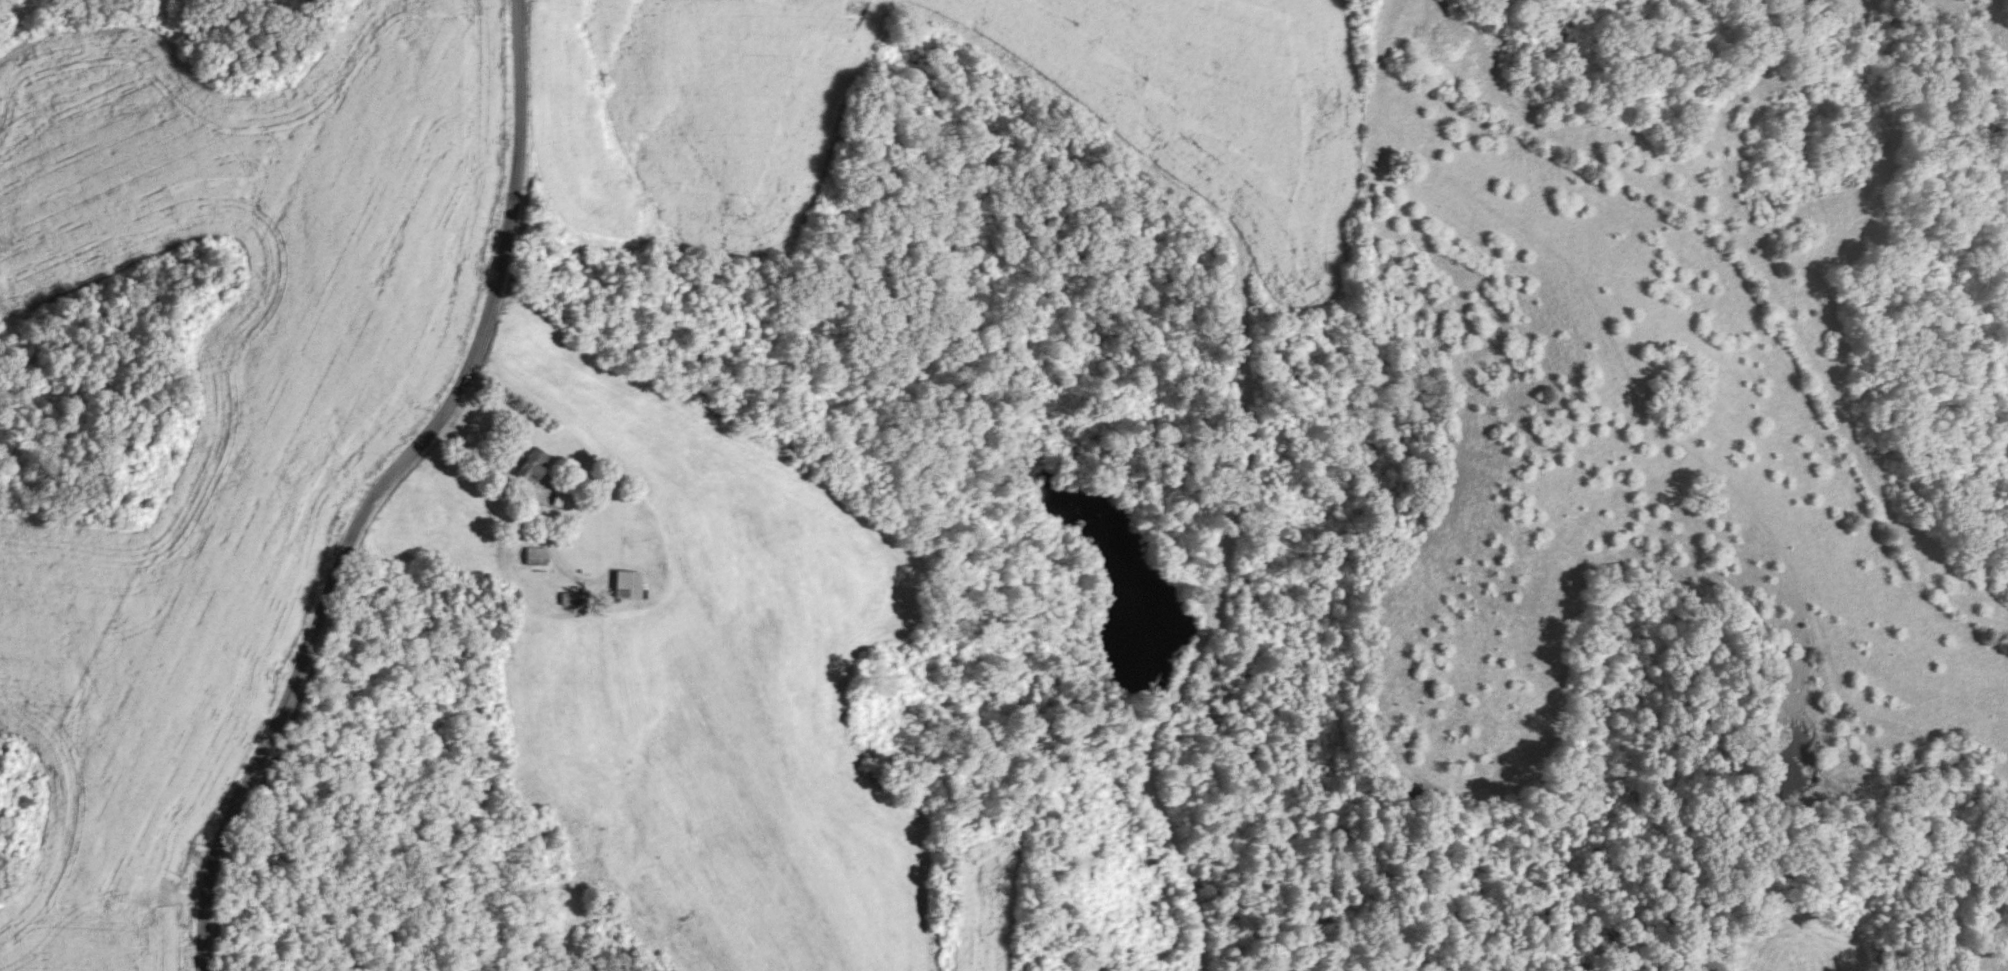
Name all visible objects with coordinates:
building: (976, 287)
crop: (221, 390)
building: (534, 467)
road: (377, 485)
building: (561, 500)
building: (535, 555)
building: (626, 583)
building: (574, 598)
crop: (82, 944)

